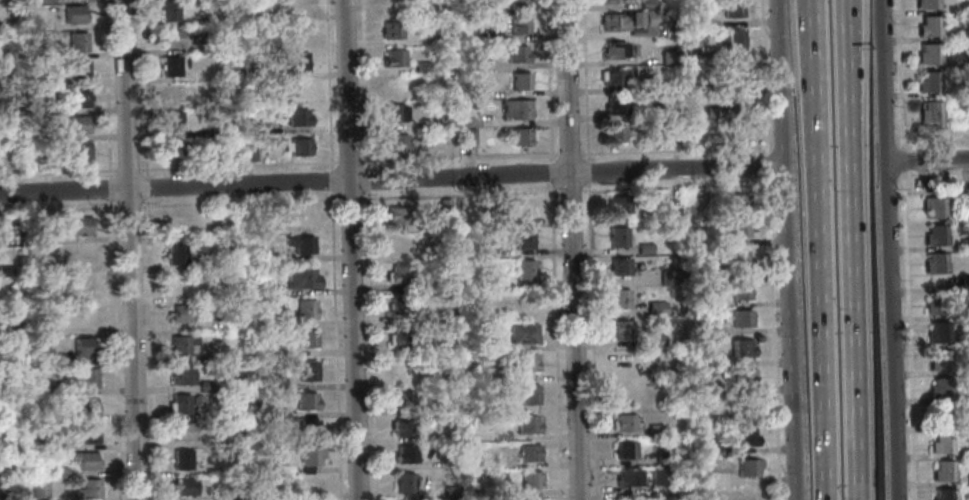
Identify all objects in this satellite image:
building: (610, 1)
building: (518, 4)
building: (648, 4)
building: (927, 4)
building: (392, 5)
building: (297, 7)
building: (732, 8)
building: (492, 10)
building: (169, 11)
building: (439, 12)
building: (76, 14)
building: (645, 18)
building: (614, 23)
building: (700, 23)
building: (520, 25)
road: (844, 25)
road: (846, 25)
building: (928, 27)
building: (675, 28)
building: (392, 30)
building: (298, 33)
building: (492, 36)
building: (172, 38)
building: (733, 39)
building: (79, 41)
building: (615, 51)
building: (517, 54)
building: (928, 55)
building: (669, 58)
building: (394, 59)
building: (298, 62)
building: (470, 64)
building: (171, 67)
building: (421, 67)
building: (78, 68)
building: (732, 68)
road: (900, 73)
road: (585, 77)
road: (764, 77)
building: (612, 78)
road: (548, 81)
building: (521, 82)
building: (928, 82)
road: (365, 84)
road: (328, 85)
building: (394, 86)
building: (668, 86)
road: (143, 89)
building: (175, 93)
building: (472, 93)
building: (81, 97)
building: (734, 98)
building: (205, 104)
building: (616, 106)
building: (518, 109)
building: (930, 111)
building: (712, 112)
building: (664, 113)
building: (393, 114)
building: (298, 118)
building: (442, 120)
building: (472, 120)
building: (172, 122)
building: (79, 123)
building: (257, 127)
road: (935, 127)
building: (219, 130)
building: (618, 134)
building: (470, 136)
building: (522, 137)
building: (675, 139)
building: (396, 144)
building: (300, 147)
road: (673, 149)
building: (175, 150)
building: (82, 152)
building: (249, 153)
road: (569, 154)
road: (584, 154)
road: (458, 158)
road: (903, 160)
building: (31, 162)
road: (348, 162)
road: (927, 162)
road: (237, 165)
road: (767, 166)
road: (132, 170)
road: (588, 172)
road: (551, 173)
road: (390, 180)
road: (331, 181)
road: (367, 181)
road: (146, 188)
road: (588, 190)
road: (937, 190)
road: (570, 191)
road: (530, 192)
road: (110, 195)
road: (402, 197)
building: (700, 198)
road: (349, 199)
road: (317, 200)
building: (736, 202)
building: (964, 202)
road: (174, 205)
building: (620, 205)
road: (129, 206)
building: (445, 206)
road: (93, 207)
building: (933, 207)
building: (526, 210)
building: (672, 215)
building: (398, 216)
building: (81, 225)
building: (738, 230)
building: (934, 236)
building: (619, 237)
building: (524, 239)
building: (399, 244)
building: (964, 244)
building: (301, 245)
road: (351, 249)
building: (645, 249)
road: (783, 249)
road: (130, 250)
road: (571, 250)
road: (820, 250)
road: (888, 250)
building: (477, 251)
building: (176, 254)
building: (84, 255)
road: (590, 255)
building: (275, 259)
building: (737, 259)
building: (934, 263)
building: (620, 267)
building: (526, 270)
building: (5, 271)
building: (714, 272)
building: (399, 275)
road: (851, 275)
building: (671, 278)
building: (303, 279)
building: (963, 283)
building: (84, 284)
building: (740, 289)
building: (275, 291)
building: (621, 299)
building: (934, 305)
building: (400, 306)
building: (306, 309)
building: (656, 309)
building: (233, 313)
building: (179, 314)
building: (739, 318)
building: (275, 321)
building: (621, 331)
building: (936, 333)
building: (523, 334)
building: (400, 336)
road: (907, 336)
road: (770, 338)
building: (306, 339)
building: (481, 342)
road: (556, 342)
building: (653, 342)
building: (181, 345)
road: (335, 346)
road: (371, 346)
building: (84, 347)
building: (739, 348)
road: (114, 349)
road: (150, 349)
building: (284, 353)
building: (202, 357)
building: (61, 360)
building: (625, 361)
building: (938, 361)
building: (524, 363)
building: (403, 369)
building: (308, 372)
building: (500, 375)
building: (182, 376)
building: (742, 378)
building: (87, 379)
building: (276, 382)
building: (206, 387)
building: (38, 389)
building: (938, 389)
building: (708, 391)
building: (529, 395)
building: (402, 399)
building: (197, 401)
building: (306, 401)
building: (179, 404)
building: (85, 405)
building: (235, 405)
building: (501, 406)
building: (426, 409)
building: (743, 409)
building: (937, 417)
building: (717, 422)
building: (623, 423)
building: (528, 426)
building: (403, 428)
building: (309, 429)
building: (183, 431)
building: (655, 431)
building: (89, 433)
building: (249, 436)
building: (501, 436)
building: (742, 437)
building: (233, 438)
building: (41, 443)
building: (939, 444)
building: (625, 450)
building: (718, 451)
building: (530, 454)
building: (405, 455)
building: (310, 456)
building: (662, 457)
building: (85, 460)
building: (182, 460)
building: (744, 468)
building: (941, 471)
building: (10, 472)
building: (58, 473)
building: (659, 477)
building: (627, 478)
building: (967, 479)
building: (531, 480)
building: (404, 483)
building: (311, 484)
building: (185, 487)
building: (40, 489)
building: (89, 490)
building: (451, 492)
building: (505, 492)
building: (941, 494)
building: (232, 495)
building: (746, 495)

